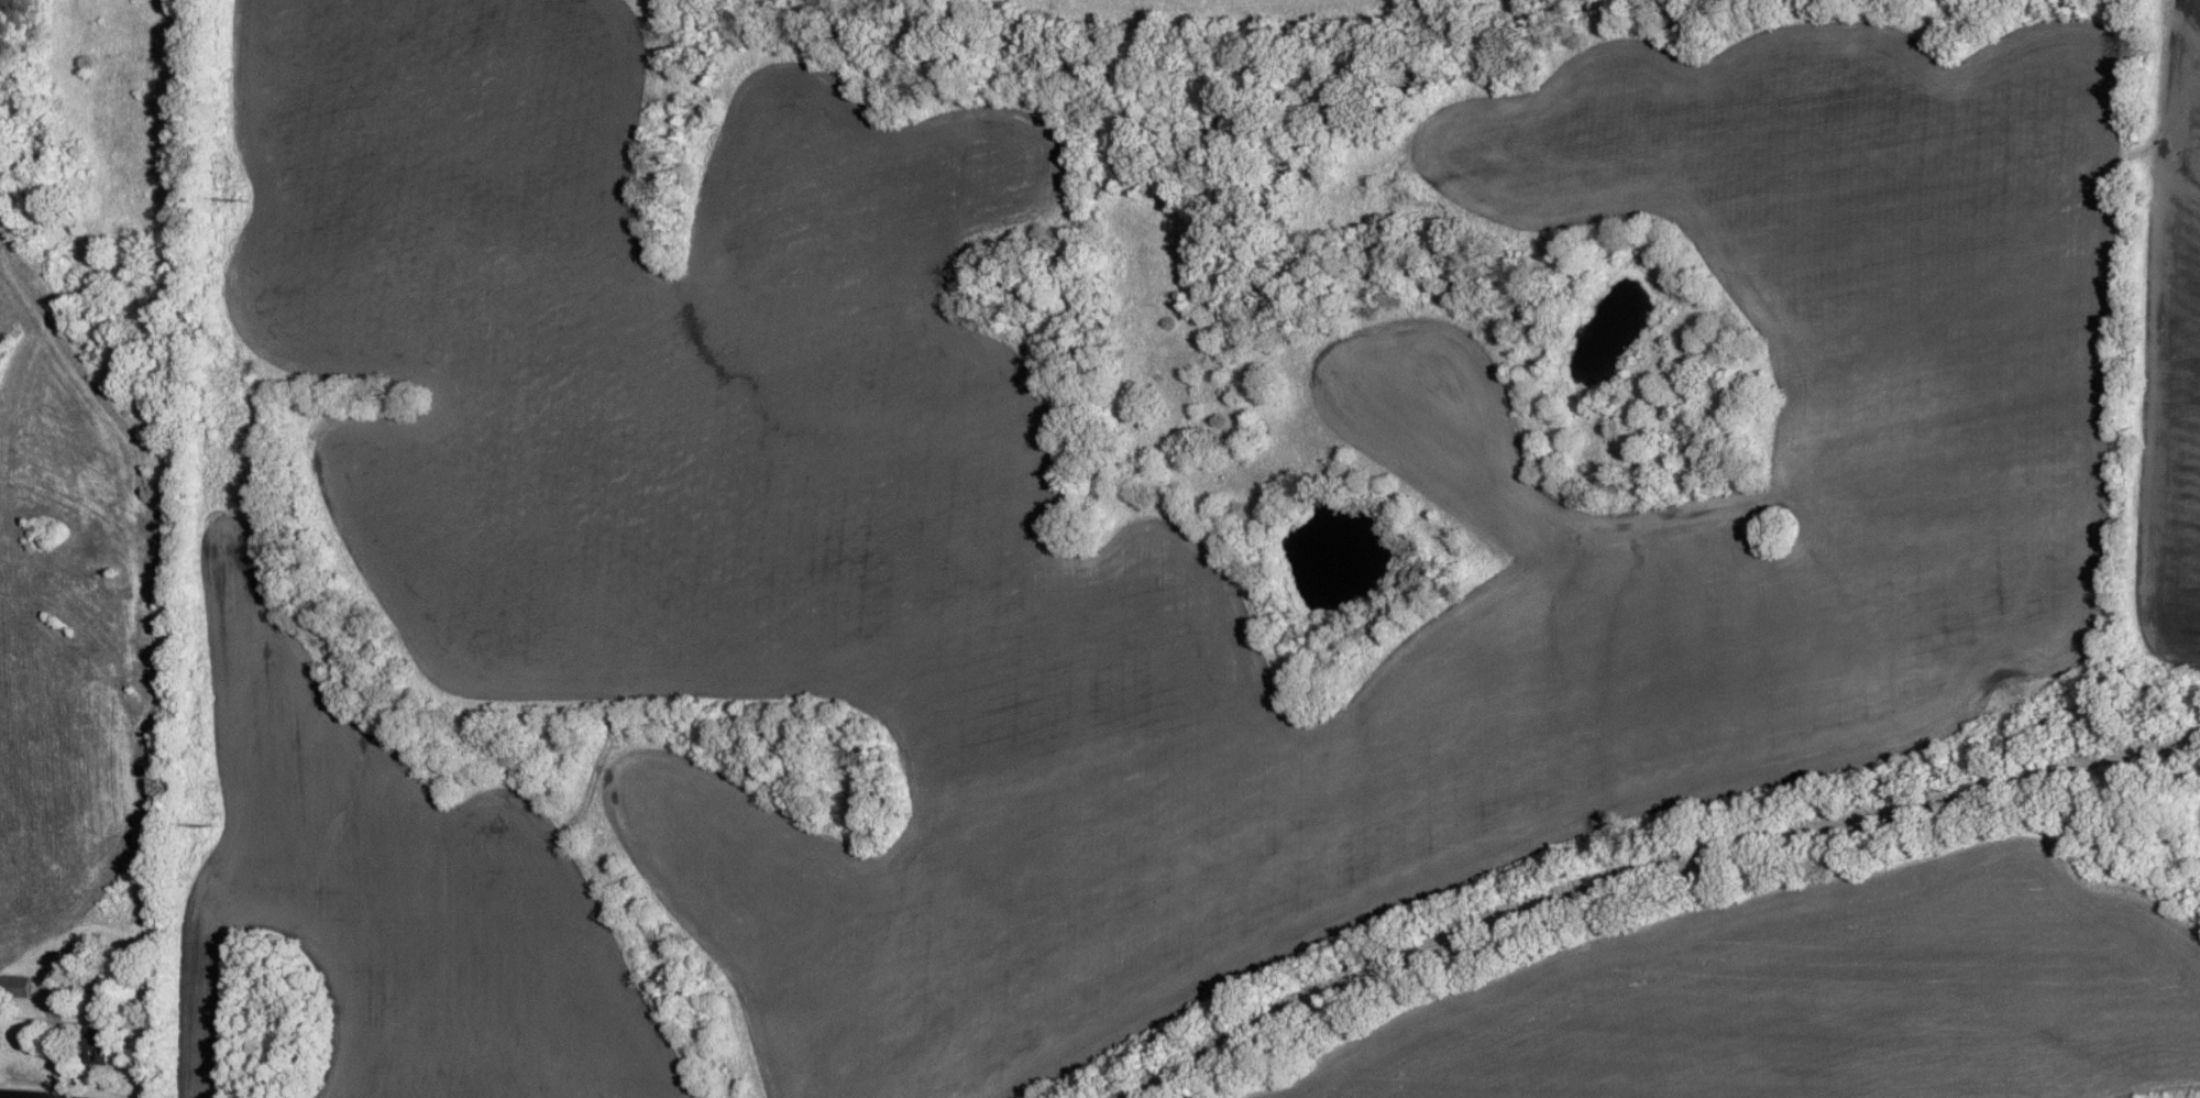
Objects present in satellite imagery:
power tower: (238, 210)
road: (2142, 367)
crop: (2159, 367)
power tower: (206, 830)
crop: (2190, 844)
road: (1645, 865)
building: (18, 987)
crop: (1838, 997)
building: (100, 1045)
road: (11, 1096)

